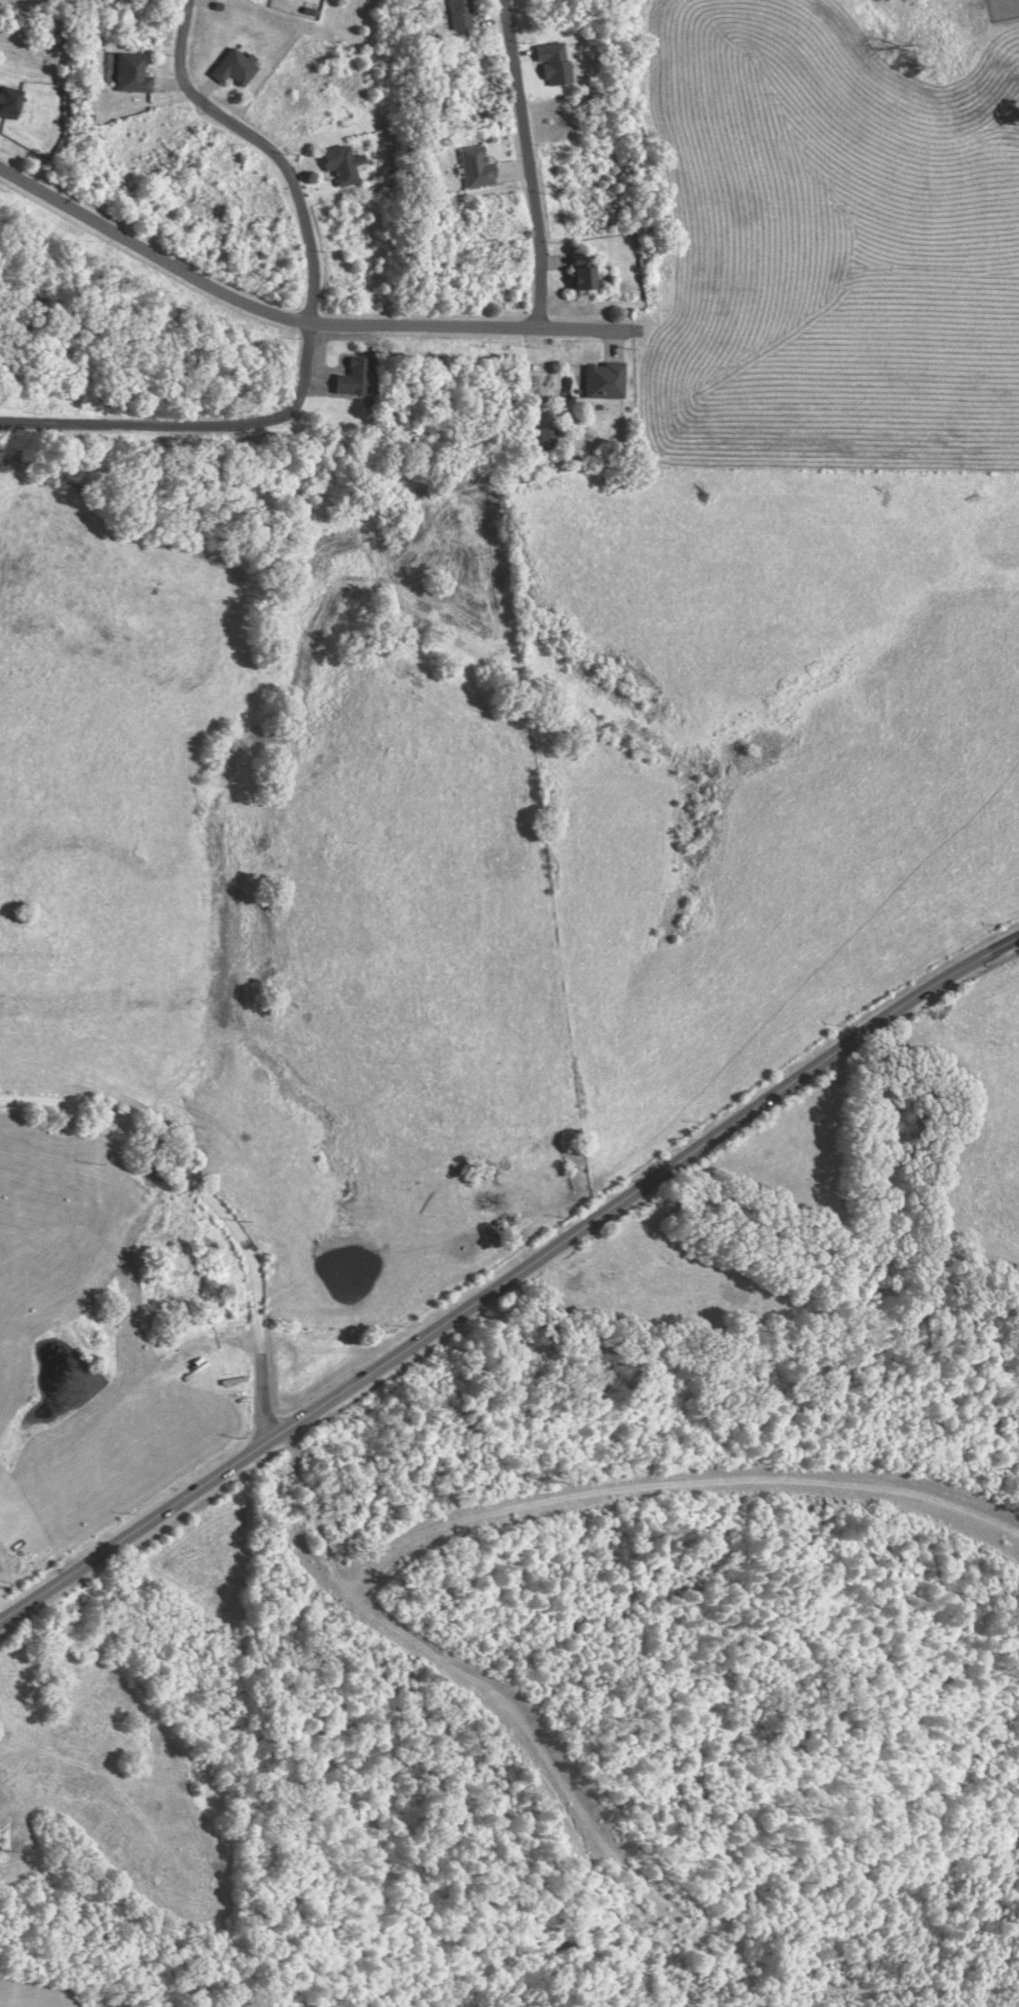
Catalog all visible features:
building: (459, 14)
building: (553, 63)
building: (235, 67)
building: (132, 73)
building: (9, 102)
road: (265, 146)
road: (529, 162)
building: (342, 163)
building: (476, 167)
road: (297, 320)
building: (355, 377)
building: (604, 380)
road: (193, 430)
building: (546, 437)
road: (216, 1204)
road: (509, 1278)

